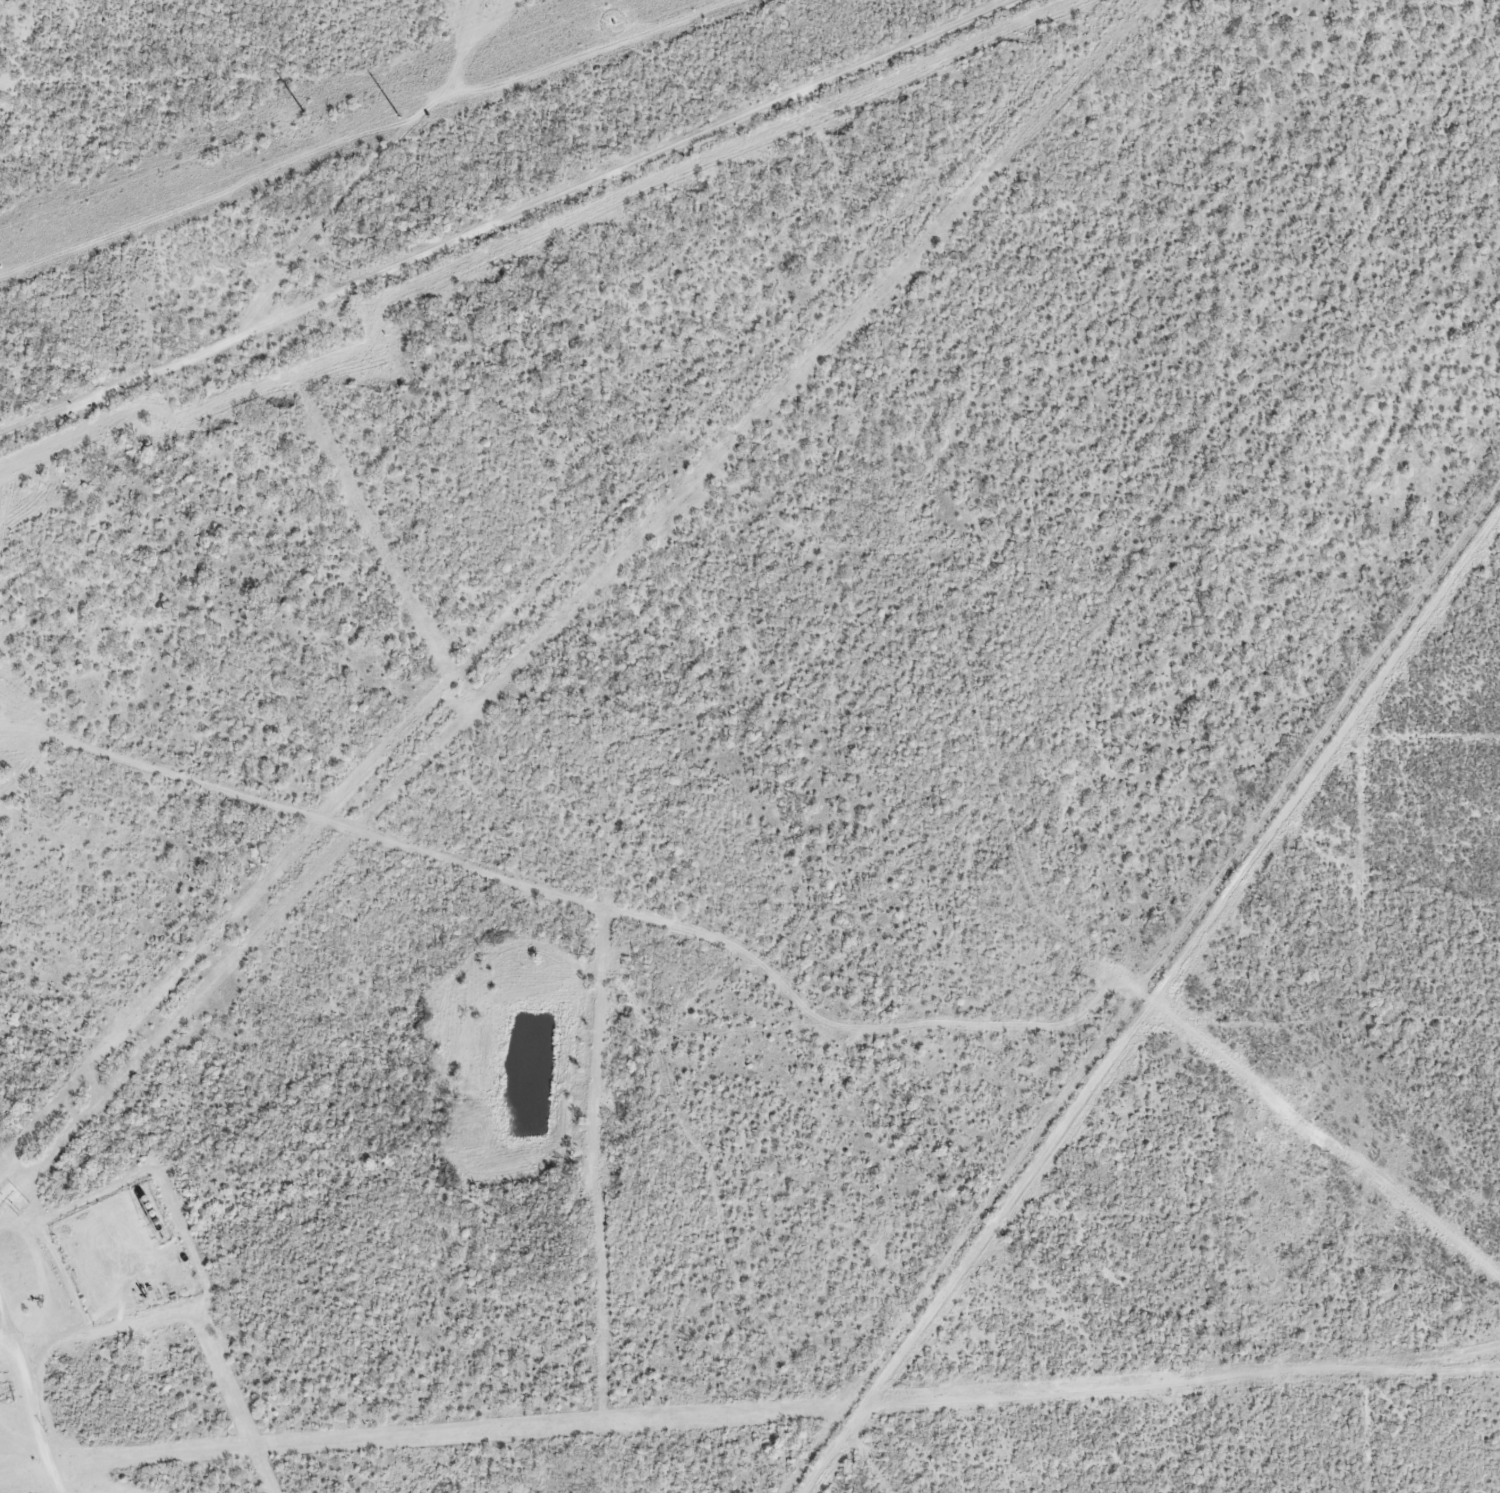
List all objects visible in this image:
power tower: (304, 113)
power tower: (399, 118)

